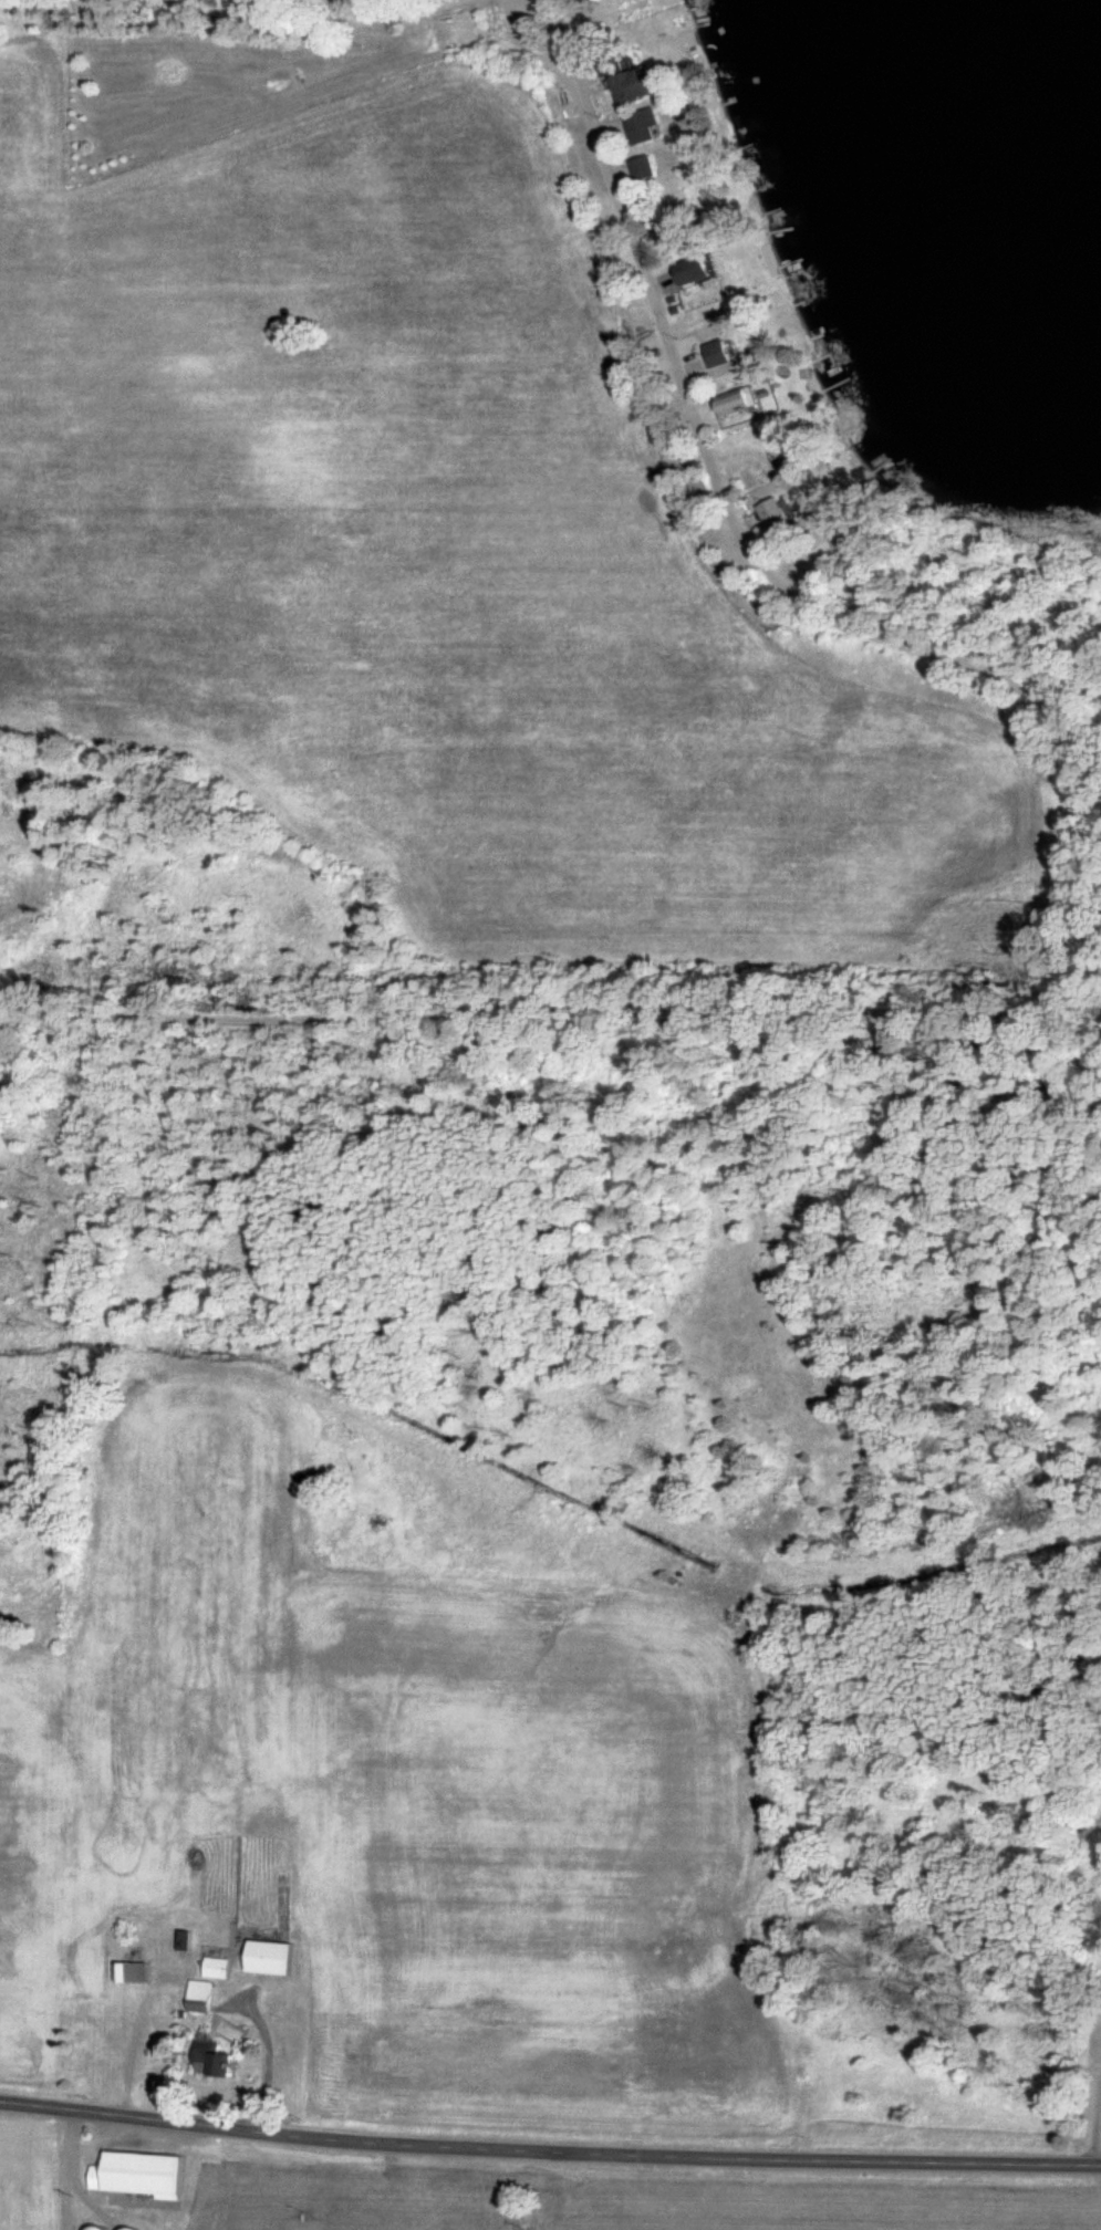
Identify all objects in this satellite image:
building: (635, 85)
building: (643, 126)
building: (644, 168)
building: (720, 354)
building: (736, 402)
building: (777, 517)
road: (1073, 889)
building: (225, 1927)
building: (276, 1958)
building: (219, 1968)
building: (137, 1972)
building: (204, 1995)
building: (220, 2062)
road: (31, 2101)
road: (581, 2143)
building: (146, 2175)
building: (100, 2228)

